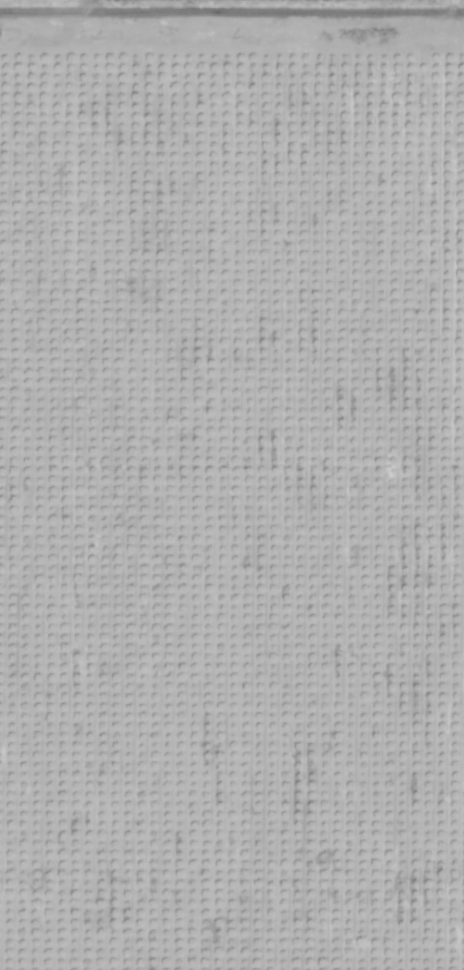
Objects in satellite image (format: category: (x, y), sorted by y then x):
road: (231, 14)

